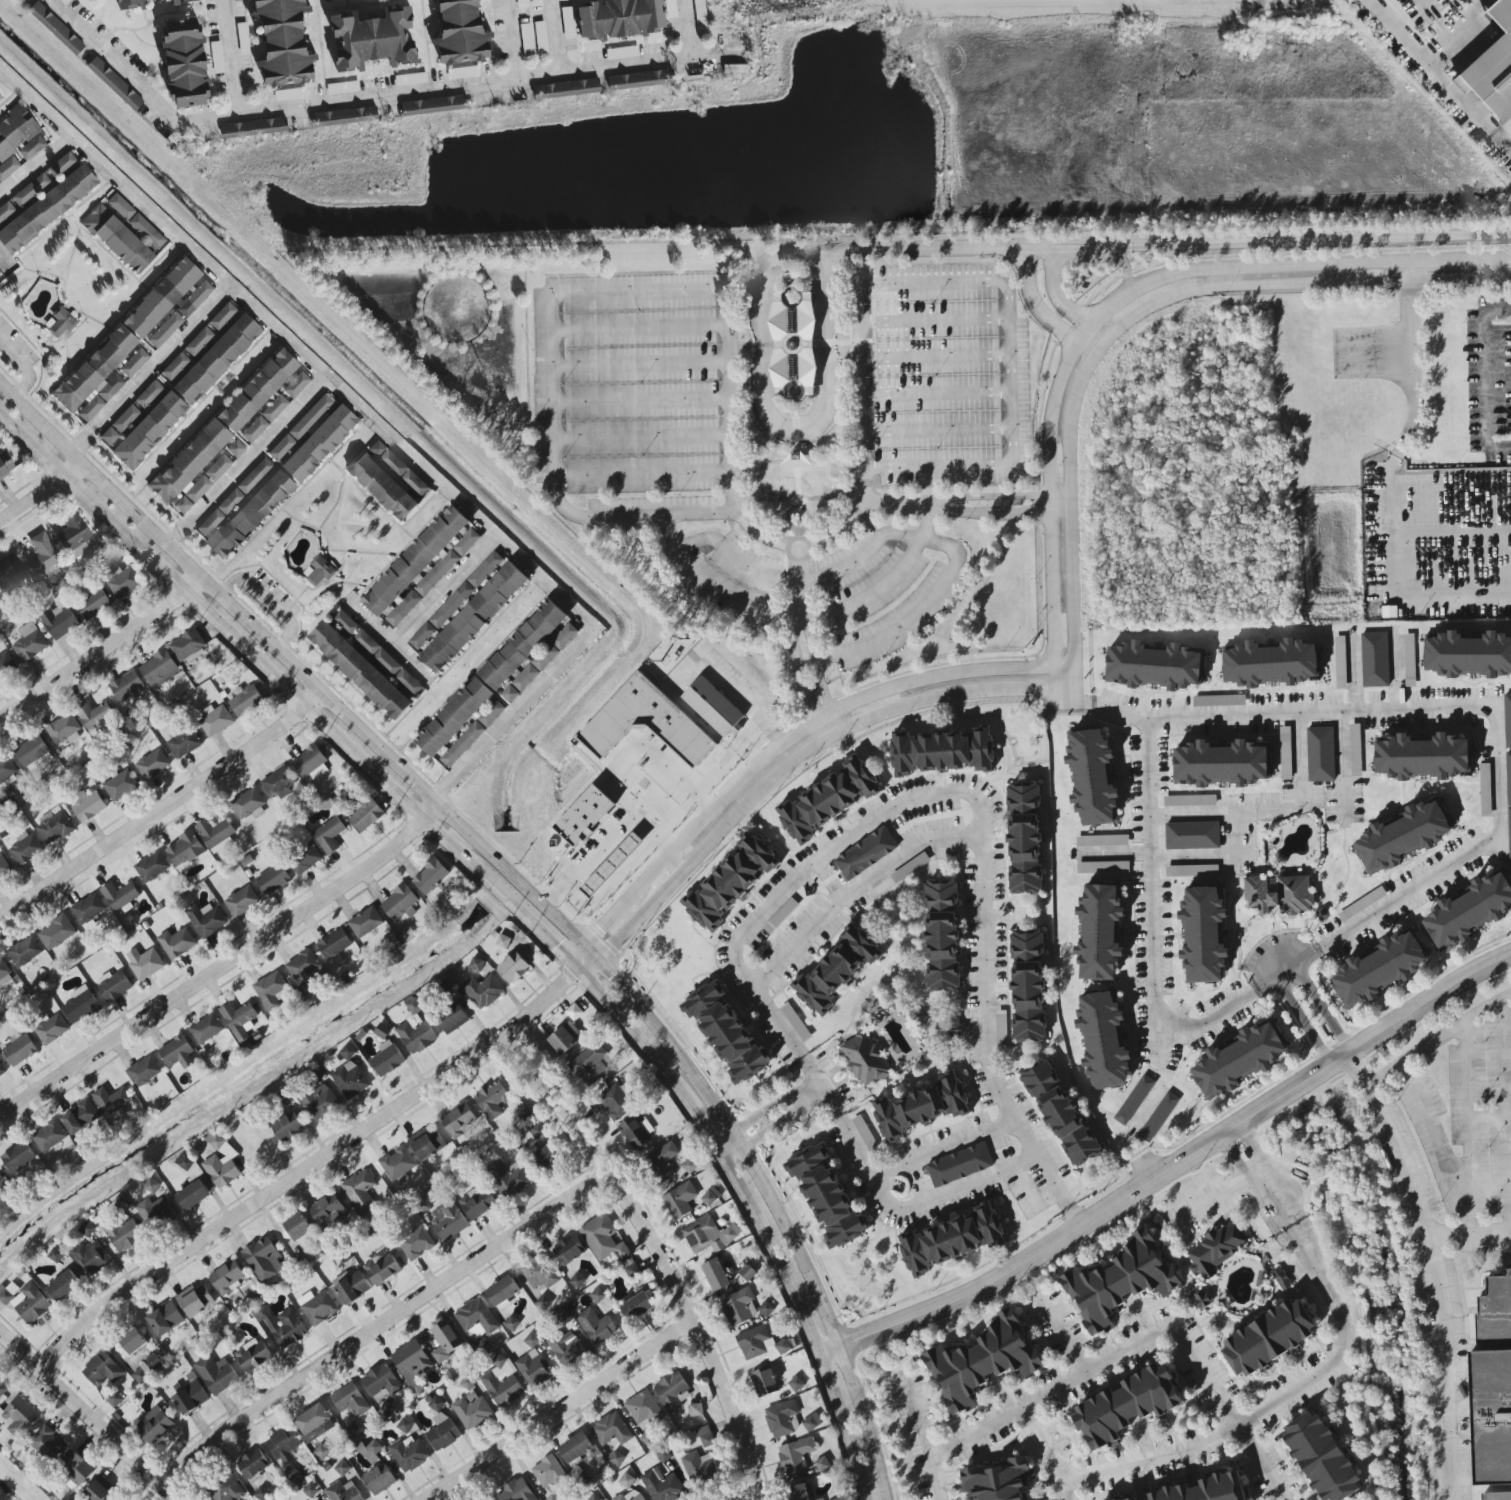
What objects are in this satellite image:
building: (180, 1)
building: (129, 4)
building: (620, 15)
building: (567, 22)
building: (55, 27)
building: (460, 32)
road: (561, 37)
building: (243, 38)
building: (372, 38)
building: (526, 38)
road: (512, 40)
building: (283, 42)
building: (621, 51)
road: (229, 58)
building: (185, 63)
building: (734, 68)
building: (1492, 68)
building: (462, 71)
road: (1436, 77)
building: (410, 78)
building: (635, 79)
building: (114, 83)
building: (342, 87)
building: (566, 88)
building: (289, 93)
building: (0, 97)
road: (376, 99)
building: (433, 104)
building: (343, 116)
building: (253, 127)
building: (20, 134)
building: (61, 164)
road: (35, 165)
building: (8, 167)
building: (31, 189)
building: (47, 208)
building: (6, 211)
building: (136, 222)
building: (118, 238)
road: (1281, 238)
road: (1040, 245)
road: (922, 247)
road: (4, 263)
road: (769, 263)
road: (1293, 265)
road: (1127, 268)
road: (687, 270)
building: (0, 272)
road: (1224, 277)
road: (1294, 285)
road: (1055, 292)
building: (169, 297)
road: (1035, 301)
road: (1497, 311)
building: (222, 316)
road: (934, 320)
building: (60, 321)
road: (635, 325)
building: (165, 329)
road: (1084, 331)
road: (1099, 332)
building: (198, 341)
building: (793, 342)
road: (844, 342)
road: (793, 343)
road: (1089, 345)
road: (31, 355)
road: (934, 357)
building: (217, 358)
building: (134, 362)
road: (636, 363)
building: (175, 366)
road: (149, 370)
building: (96, 375)
parking lot: (941, 378)
road: (1485, 379)
parking lot: (1489, 382)
building: (296, 384)
parking lot: (632, 386)
building: (257, 389)
building: (148, 393)
road: (936, 393)
road: (637, 399)
road: (1041, 408)
road: (1009, 409)
building: (120, 424)
road: (822, 425)
road: (381, 427)
building: (149, 429)
road: (795, 429)
road: (937, 430)
building: (318, 435)
road: (639, 436)
building: (281, 447)
road: (1498, 447)
building: (235, 448)
road: (551, 454)
road: (1394, 456)
road: (249, 460)
road: (740, 461)
building: (5, 464)
road: (69, 466)
road: (854, 466)
building: (218, 467)
building: (189, 468)
road: (639, 472)
building: (254, 475)
building: (389, 480)
road: (743, 484)
road: (866, 484)
road: (851, 494)
road: (31, 495)
road: (802, 499)
road: (1049, 501)
building: (220, 512)
building: (251, 514)
road: (1067, 515)
road: (927, 529)
road: (670, 531)
building: (75, 535)
road: (930, 541)
building: (466, 543)
road: (804, 548)
building: (42, 553)
building: (416, 560)
road: (735, 560)
road: (845, 567)
building: (320, 571)
building: (437, 573)
building: (8, 575)
road: (813, 575)
building: (124, 582)
road: (193, 582)
road: (445, 593)
parking lot: (821, 594)
road: (279, 595)
road: (1418, 598)
road: (726, 599)
road: (863, 599)
building: (455, 601)
building: (94, 604)
building: (403, 609)
building: (1389, 612)
building: (474, 618)
building: (60, 623)
road: (887, 633)
road: (800, 634)
road: (816, 640)
road: (391, 642)
building: (30, 643)
building: (523, 644)
building: (187, 646)
building: (377, 653)
road: (92, 654)
road: (254, 655)
building: (1468, 655)
building: (1375, 660)
building: (1409, 660)
road: (292, 661)
building: (540, 663)
building: (1340, 663)
building: (6, 664)
building: (1270, 664)
building: (1153, 666)
building: (159, 670)
building: (360, 671)
road: (901, 674)
road: (1063, 675)
building: (126, 686)
building: (1219, 701)
building: (246, 702)
building: (713, 707)
road: (1439, 710)
building: (94, 715)
building: (454, 717)
building: (1507, 720)
building: (215, 721)
road: (834, 722)
road: (851, 724)
building: (63, 729)
building: (643, 731)
building: (473, 734)
building: (184, 743)
road: (784, 745)
building: (1355, 750)
building: (32, 752)
building: (942, 752)
building: (1286, 753)
building: (1321, 754)
road: (627, 755)
building: (1422, 757)
building: (152, 764)
building: (312, 764)
building: (1220, 765)
building: (6, 769)
building: (1092, 778)
building: (279, 783)
building: (120, 785)
building: (1485, 790)
building: (1509, 798)
building: (828, 800)
building: (1190, 801)
road: (162, 805)
road: (1329, 805)
building: (248, 806)
building: (88, 807)
road: (429, 807)
road: (1191, 810)
road: (680, 812)
building: (366, 815)
building: (583, 816)
building: (54, 827)
building: (216, 834)
building: (329, 835)
building: (1192, 836)
building: (1402, 837)
building: (1025, 840)
road: (603, 841)
building: (1102, 841)
building: (26, 848)
building: (185, 849)
building: (865, 854)
road: (1196, 854)
building: (304, 859)
road: (676, 862)
building: (152, 867)
building: (1103, 867)
building: (4, 868)
building: (1191, 871)
building: (430, 877)
building: (273, 879)
road: (671, 883)
building: (730, 883)
road: (857, 892)
building: (1280, 895)
building: (120, 896)
building: (242, 901)
building: (399, 903)
road: (991, 908)
building: (88, 909)
building: (1469, 911)
building: (781, 916)
building: (206, 920)
building: (365, 922)
road: (1155, 926)
road: (633, 928)
building: (56, 933)
building: (1100, 933)
road: (545, 934)
building: (942, 935)
building: (1203, 936)
building: (504, 942)
building: (176, 943)
building: (334, 944)
building: (25, 952)
road: (583, 955)
building: (144, 963)
building: (476, 965)
road: (592, 966)
building: (513, 968)
road: (214, 969)
building: (306, 969)
building: (837, 970)
building: (1379, 970)
road: (1290, 973)
building: (4, 974)
building: (114, 986)
building: (1028, 986)
building: (271, 990)
building: (484, 991)
building: (79, 1006)
road: (1323, 1010)
building: (573, 1012)
building: (239, 1020)
building: (453, 1020)
road: (1302, 1024)
building: (951, 1028)
building: (51, 1029)
building: (207, 1029)
building: (1001, 1029)
building: (727, 1033)
building: (565, 1038)
road: (1437, 1039)
building: (1103, 1041)
building: (20, 1050)
building: (177, 1053)
road: (650, 1053)
building: (387, 1059)
building: (865, 1060)
building: (1238, 1061)
building: (589, 1064)
road: (810, 1068)
building: (2, 1071)
building: (144, 1071)
building: (350, 1081)
road: (1162, 1081)
road: (822, 1088)
building: (111, 1100)
building: (492, 1100)
building: (1133, 1100)
building: (615, 1102)
building: (320, 1104)
road: (775, 1106)
road: (832, 1106)
building: (922, 1107)
building: (524, 1111)
building: (1060, 1113)
building: (80, 1117)
building: (1158, 1117)
road: (1506, 1117)
building: (459, 1121)
road: (785, 1122)
parking lot: (1466, 1124)
building: (287, 1127)
building: (535, 1129)
road: (1470, 1129)
building: (633, 1133)
building: (49, 1136)
road: (723, 1138)
building: (426, 1144)
road: (1253, 1146)
road: (1440, 1147)
road: (947, 1151)
road: (732, 1154)
building: (544, 1155)
building: (18, 1157)
road: (1234, 1157)
building: (663, 1162)
building: (221, 1163)
building: (397, 1163)
building: (959, 1165)
building: (689, 1166)
road: (1172, 1166)
road: (309, 1167)
road: (1256, 1174)
building: (510, 1178)
road: (1059, 1183)
building: (2, 1184)
building: (192, 1184)
building: (152, 1185)
building: (360, 1192)
building: (827, 1196)
building: (710, 1197)
building: (680, 1200)
road: (772, 1201)
road: (1209, 1202)
building: (477, 1203)
road: (1287, 1206)
building: (153, 1212)
building: (327, 1212)
road: (1075, 1217)
road: (1270, 1218)
building: (448, 1220)
building: (298, 1227)
building: (125, 1235)
building: (709, 1235)
road: (1469, 1237)
building: (602, 1238)
building: (952, 1240)
building: (416, 1244)
building: (1216, 1247)
building: (568, 1250)
road: (656, 1254)
building: (56, 1255)
building: (90, 1258)
building: (263, 1259)
building: (629, 1267)
road: (1433, 1268)
building: (382, 1269)
building: (748, 1272)
building: (539, 1274)
building: (715, 1275)
building: (227, 1277)
building: (1121, 1278)
building: (1281, 1280)
building: (577, 1281)
building: (64, 1286)
building: (352, 1286)
building: (503, 1291)
building: (597, 1295)
building: (1200, 1299)
building: (195, 1301)
building: (543, 1303)
building: (637, 1305)
building: (318, 1307)
building: (739, 1307)
building: (765, 1309)
road: (805, 1315)
building: (1496, 1315)
building: (476, 1317)
building: (165, 1319)
building: (512, 1324)
building: (596, 1326)
building: (281, 1327)
road: (385, 1328)
building: (1269, 1331)
road: (1060, 1333)
road: (1142, 1339)
building: (133, 1341)
building: (445, 1341)
building: (531, 1341)
building: (760, 1344)
building: (567, 1348)
building: (253, 1355)
building: (982, 1356)
building: (412, 1364)
building: (147, 1369)
building: (533, 1369)
building: (102, 1370)
building: (216, 1375)
building: (765, 1382)
building: (380, 1383)
building: (502, 1383)
building: (796, 1384)
building: (3, 1389)
building: (672, 1391)
building: (191, 1398)
building: (1127, 1398)
building: (115, 1400)
building: (350, 1400)
building: (435, 1404)
building: (471, 1410)
road: (560, 1410)
building: (644, 1410)
building: (695, 1410)
road: (1262, 1410)
building: (18, 1416)
road: (90, 1416)
building: (312, 1419)
building: (780, 1419)
building: (811, 1423)
building: (1494, 1423)
building: (154, 1425)
building: (612, 1429)
building: (442, 1432)
road: (924, 1435)
building: (705, 1437)
building: (46, 1443)
building: (283, 1444)
building: (371, 1449)
building: (576, 1449)
road: (1049, 1451)
building: (1323, 1451)
building: (409, 1455)
building: (795, 1455)
building: (615, 1459)
building: (253, 1464)
building: (822, 1464)
building: (76, 1467)
building: (342, 1468)
building: (699, 1468)
building: (548, 1472)
building: (997, 1476)
building: (379, 1479)
building: (627, 1480)
building: (1201, 1488)
building: (227, 1490)
building: (515, 1491)
building: (343, 1492)
building: (801, 1492)
building: (98, 1493)
building: (631, 1495)
building: (592, 1497)
building: (838, 1498)
building: (317, 1499)
building: (490, 1499)
building: (1107, 1499)

